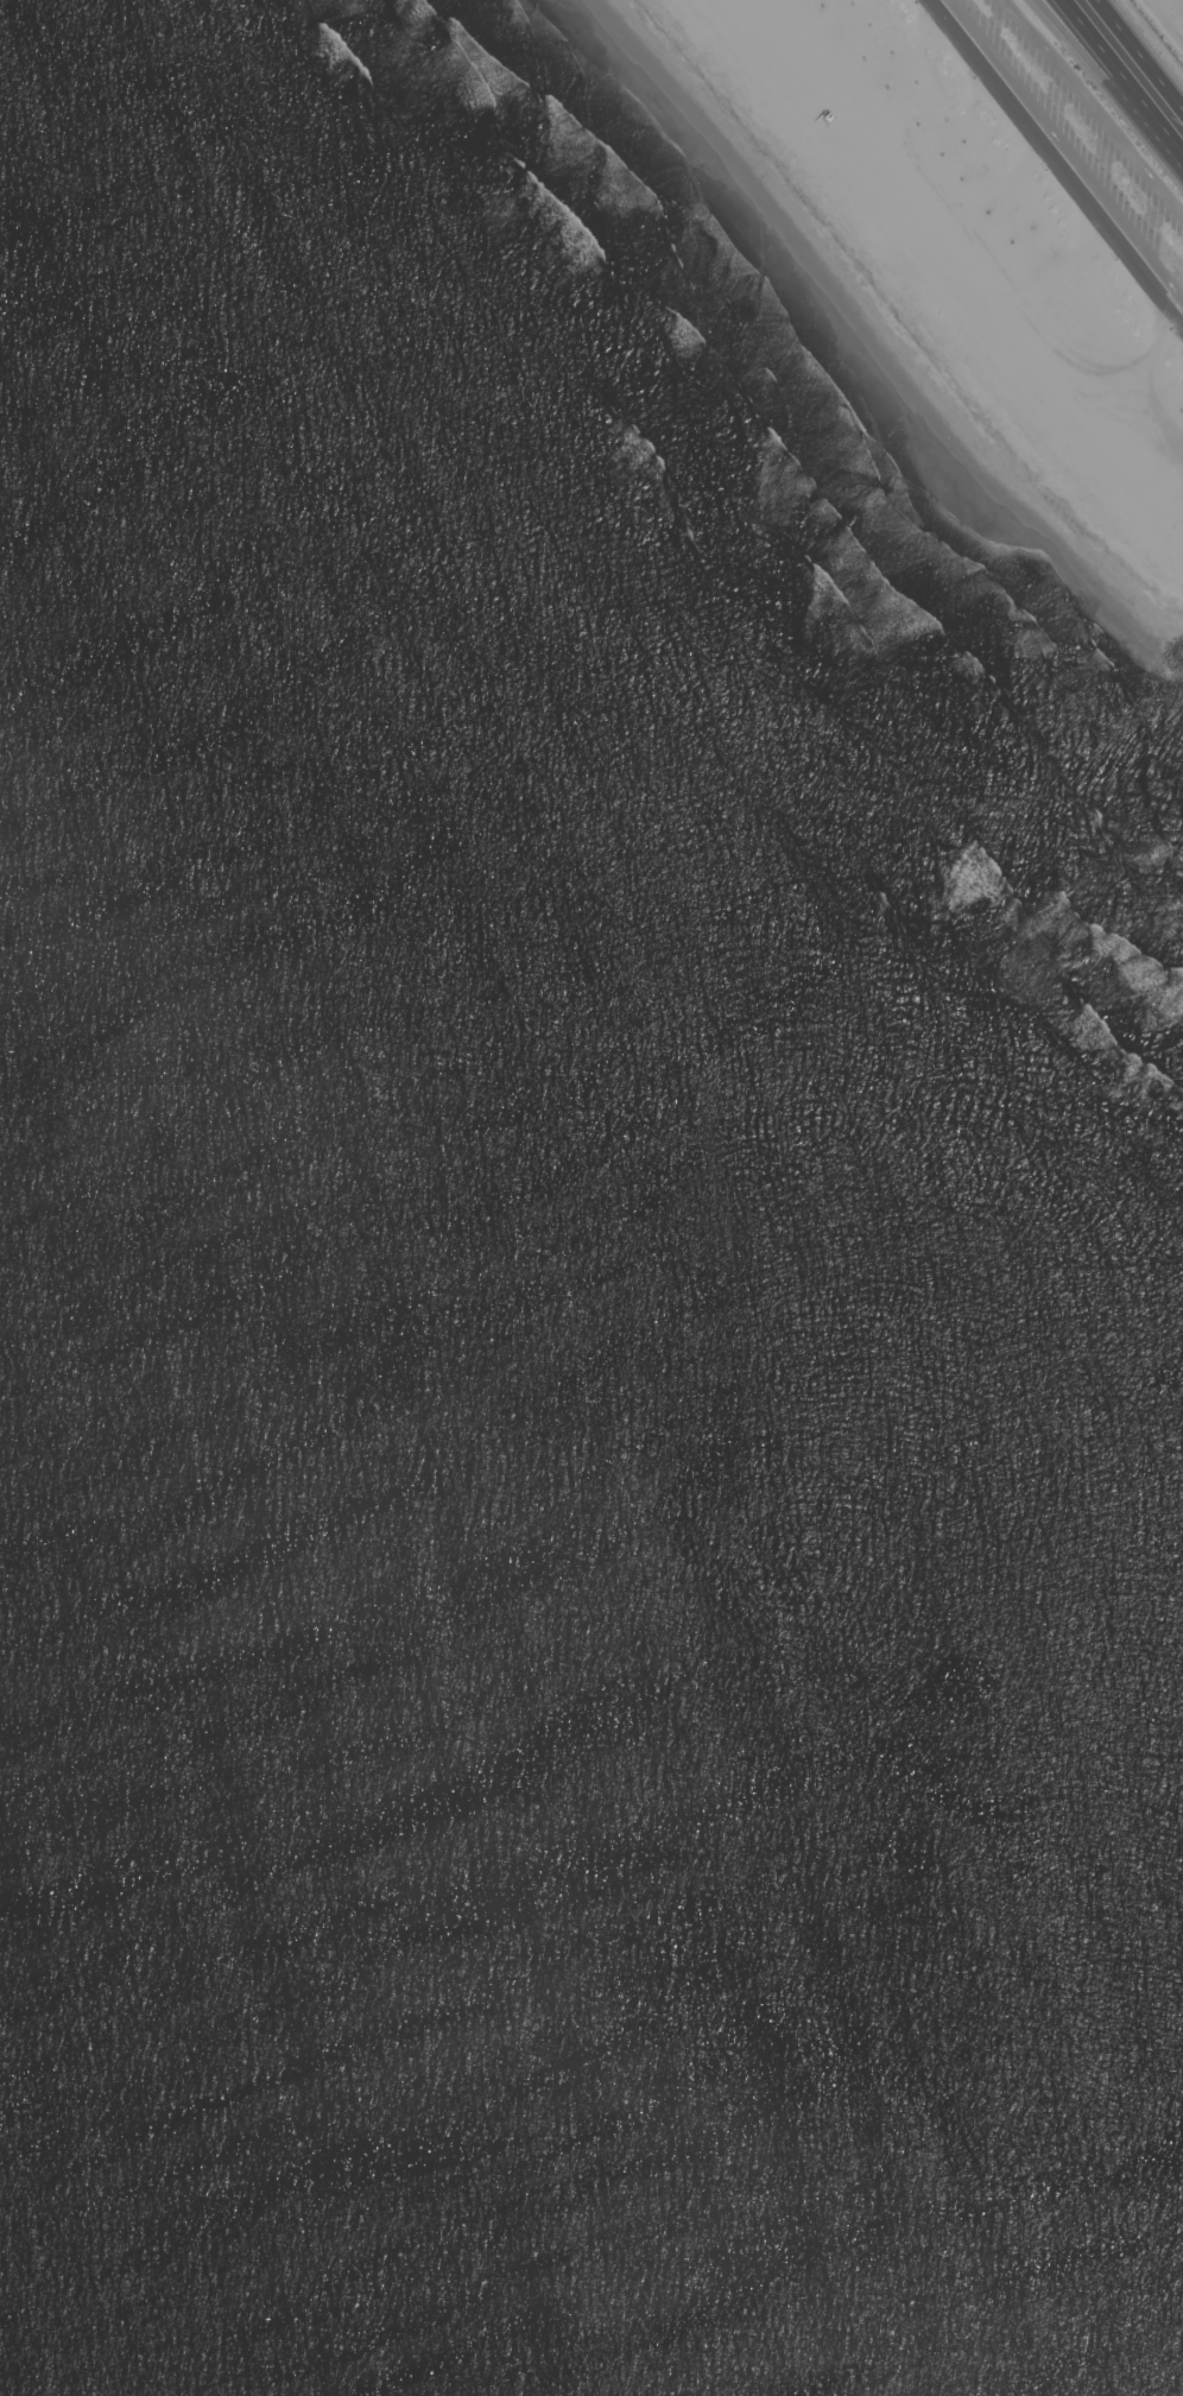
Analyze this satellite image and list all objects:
road: (1124, 63)
road: (1096, 71)
road: (1094, 108)
road: (1178, 132)
road: (1068, 148)
road: (1059, 159)

